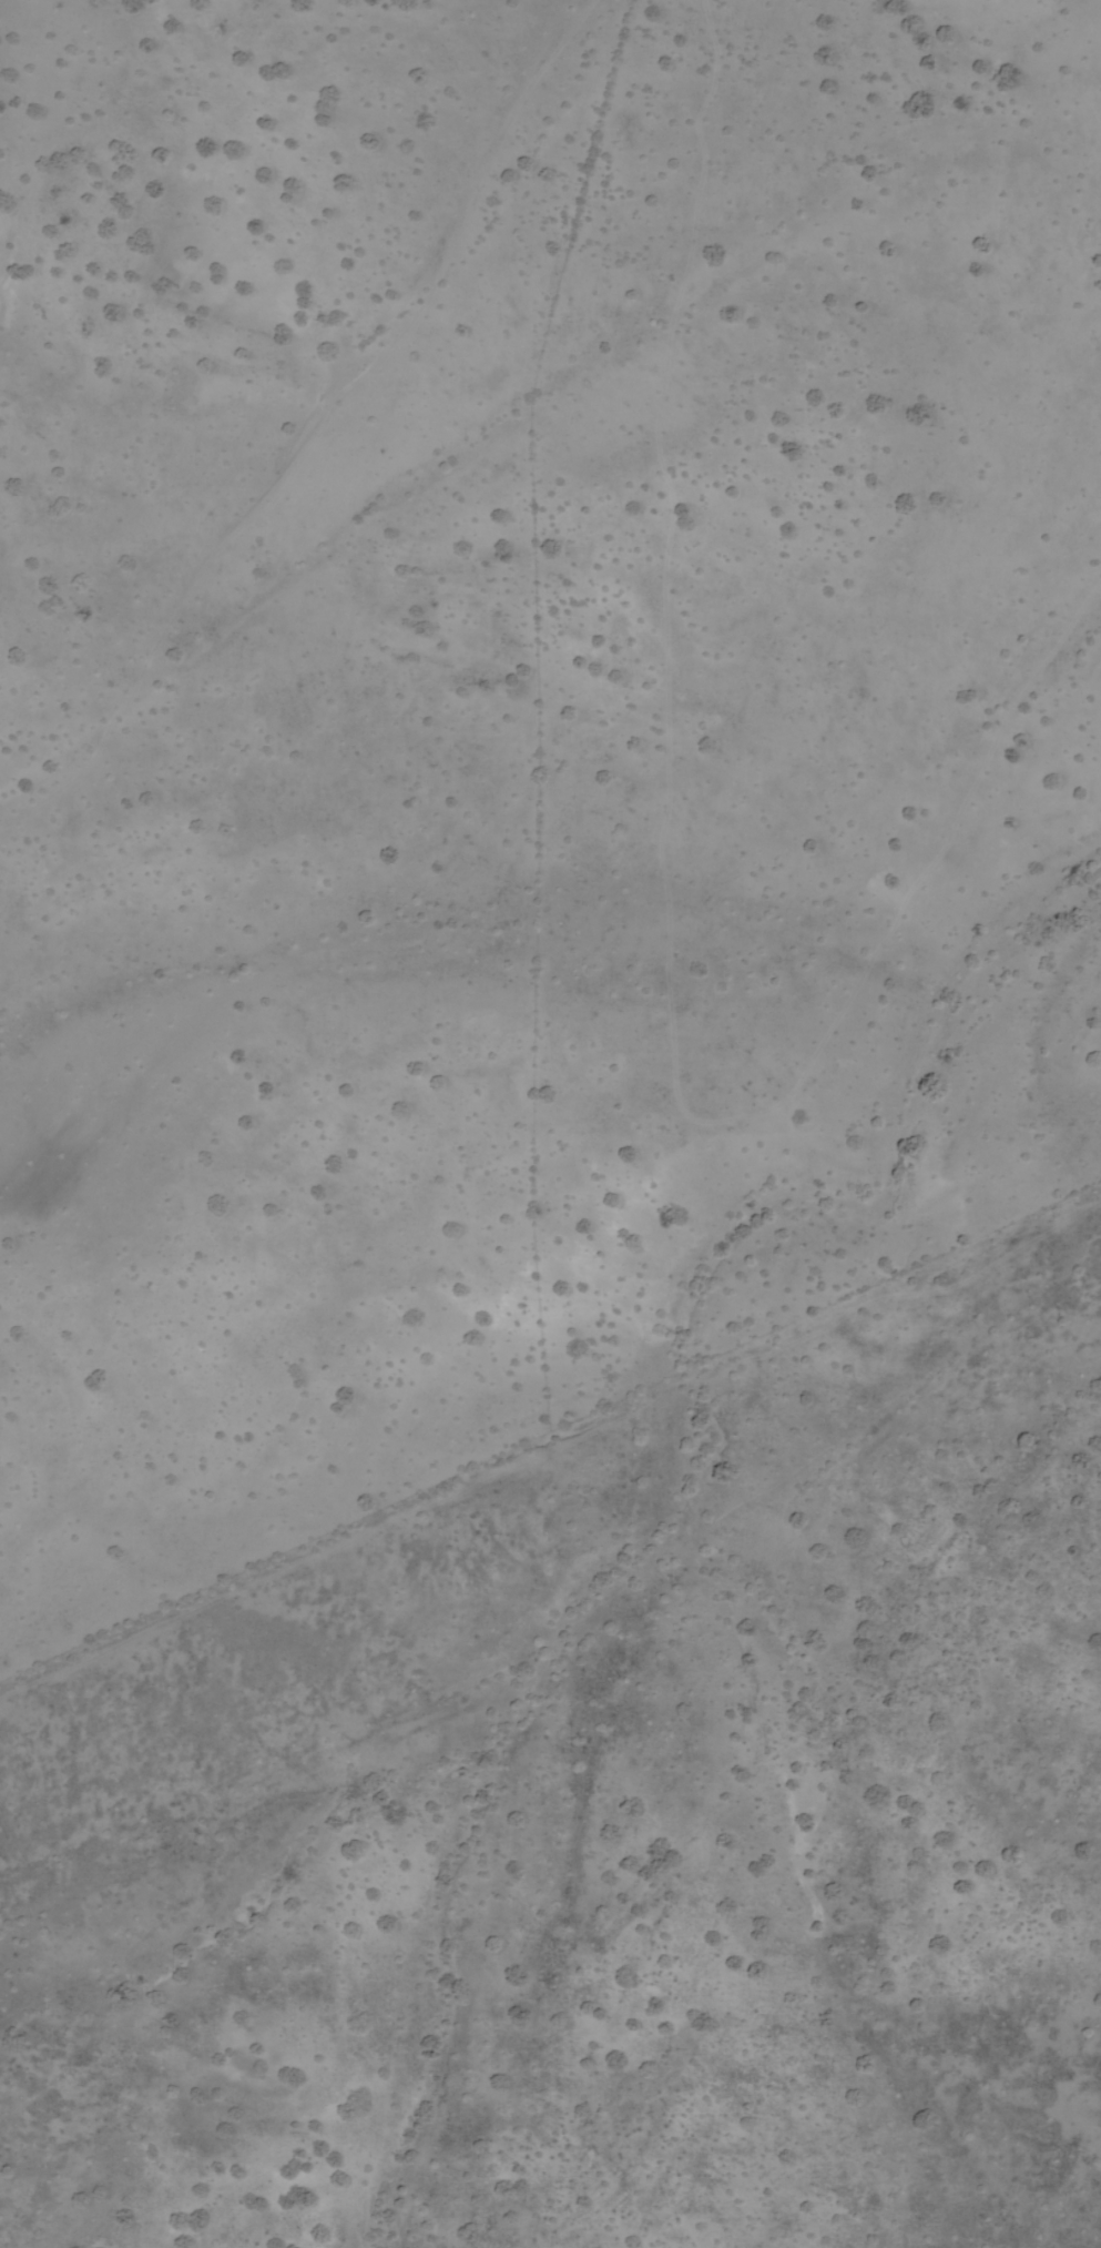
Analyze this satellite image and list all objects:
road: (550, 1411)

